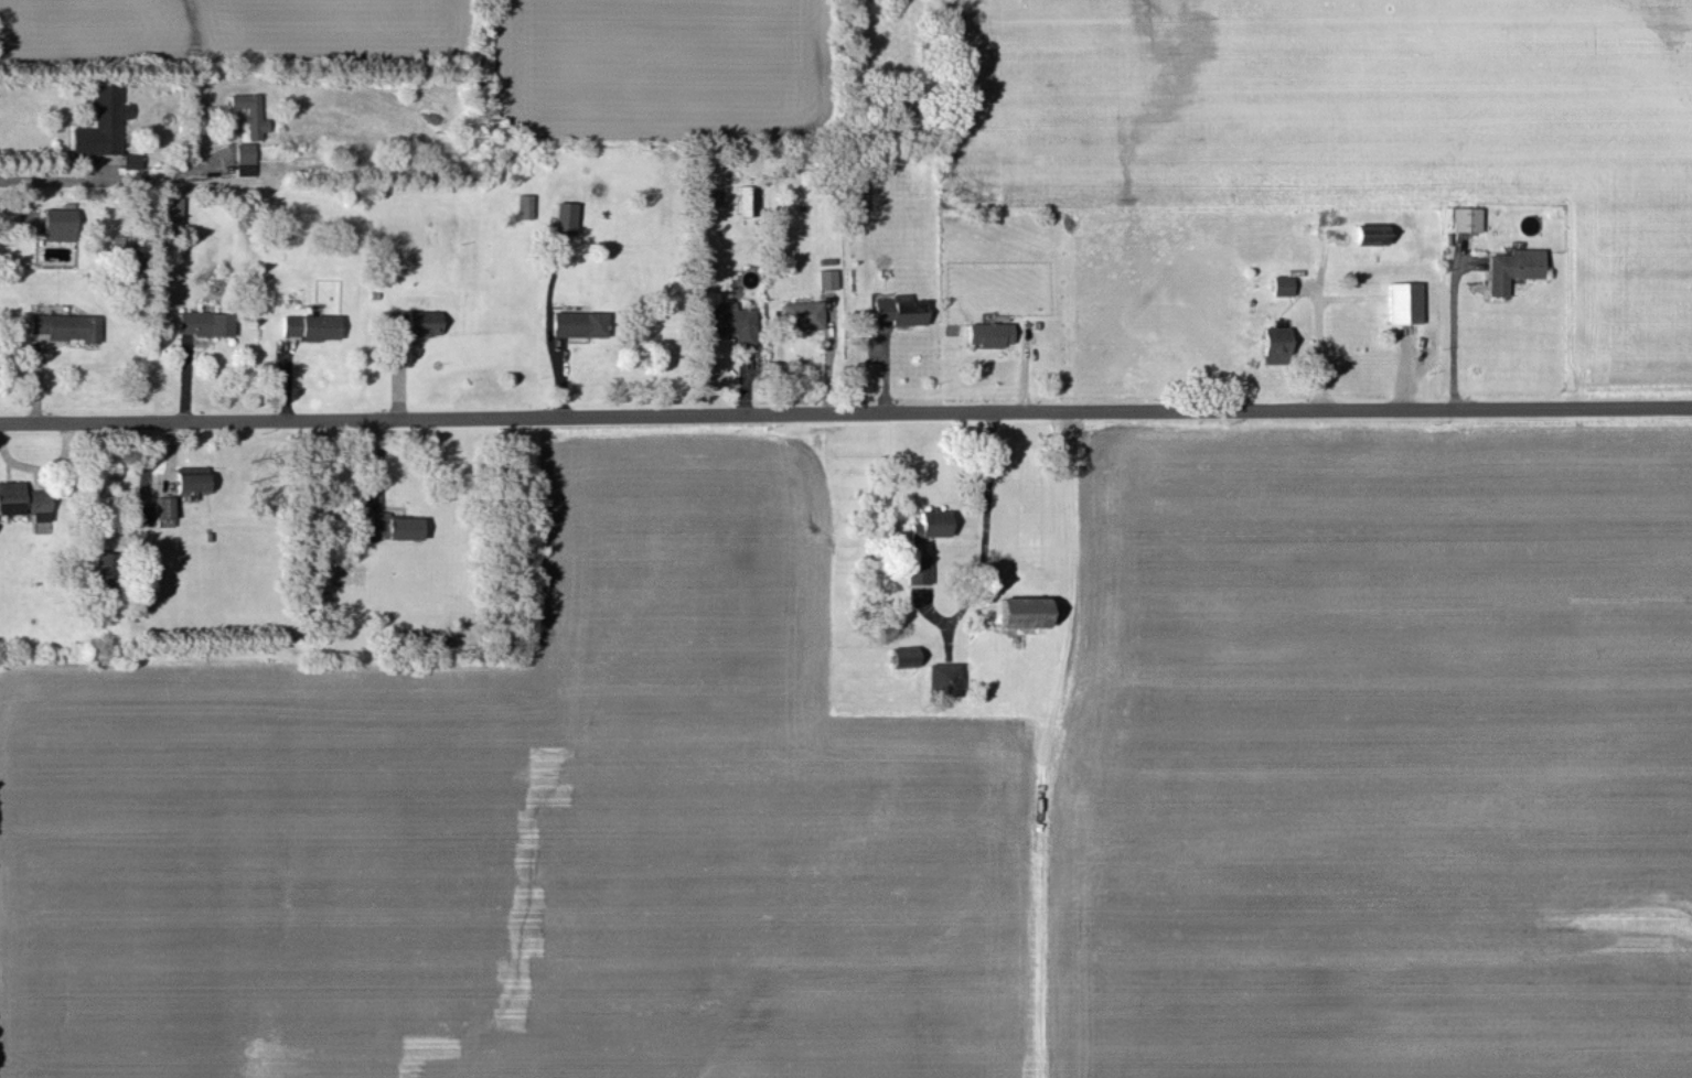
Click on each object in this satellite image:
building: (248, 112)
building: (100, 121)
building: (243, 158)
building: (129, 160)
road: (107, 179)
building: (746, 200)
building: (523, 205)
building: (169, 211)
building: (564, 217)
building: (1464, 218)
building: (56, 223)
building: (1368, 233)
building: (1511, 267)
building: (825, 278)
building: (1279, 284)
building: (1402, 301)
building: (897, 309)
building: (801, 314)
building: (729, 321)
building: (203, 322)
building: (413, 322)
building: (578, 323)
building: (65, 325)
building: (310, 325)
building: (988, 333)
road: (1450, 334)
building: (1272, 341)
road: (845, 413)
building: (190, 478)
building: (23, 499)
building: (163, 506)
building: (928, 524)
building: (394, 525)
road: (982, 541)
building: (915, 568)
building: (104, 571)
building: (1020, 611)
building: (902, 655)
building: (943, 677)

